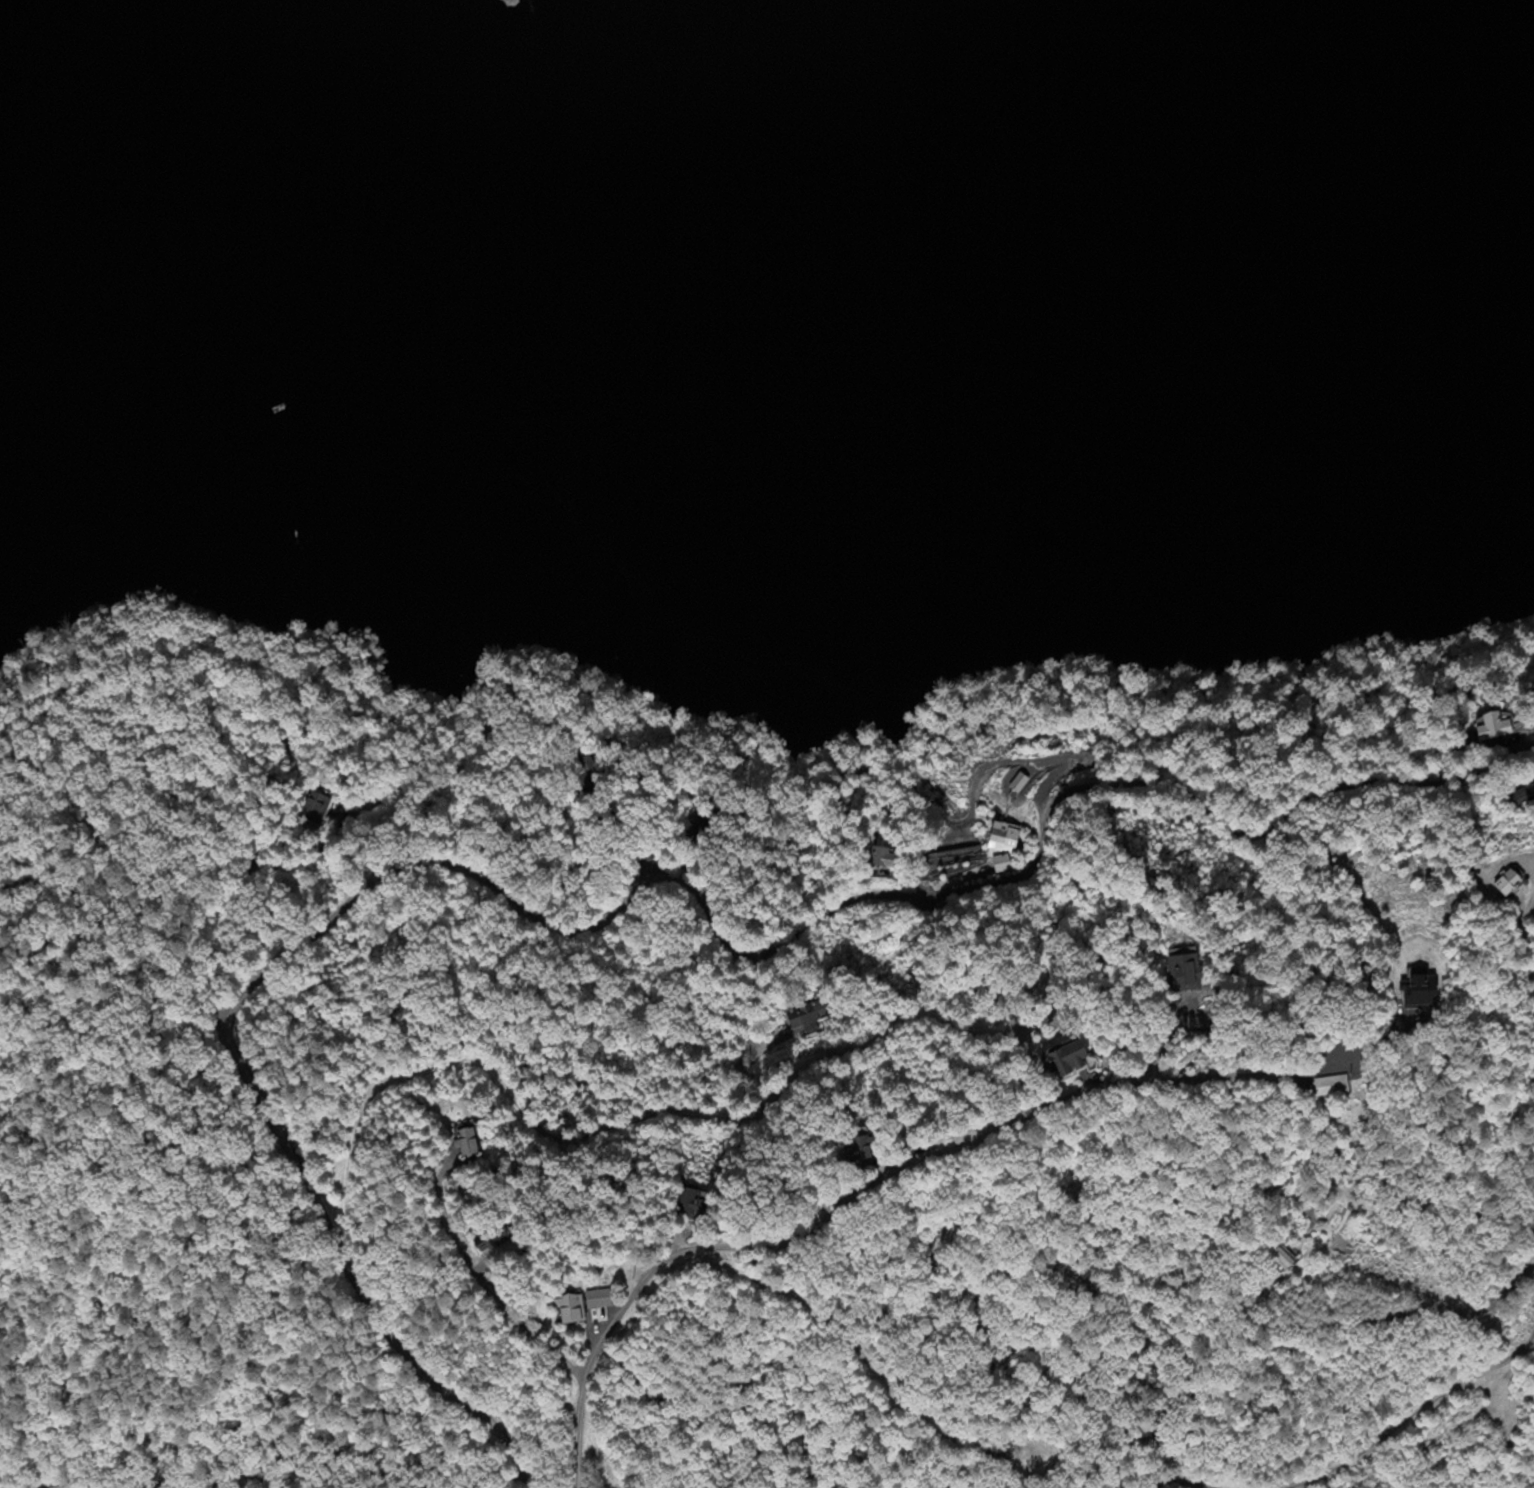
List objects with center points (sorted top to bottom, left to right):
river: (768, 339)
building: (1492, 727)
building: (316, 809)
building: (1002, 839)
building: (880, 857)
building: (1001, 864)
building: (1507, 882)
road: (633, 893)
road: (237, 898)
building: (1182, 970)
building: (1417, 991)
building: (1065, 1059)
road: (1189, 1079)
building: (1330, 1085)
road: (585, 1135)
building: (464, 1142)
building: (1299, 1242)
building: (1281, 1259)
building: (591, 1300)
building: (562, 1309)
road: (1409, 1415)
road: (576, 1428)
road: (1182, 1484)

